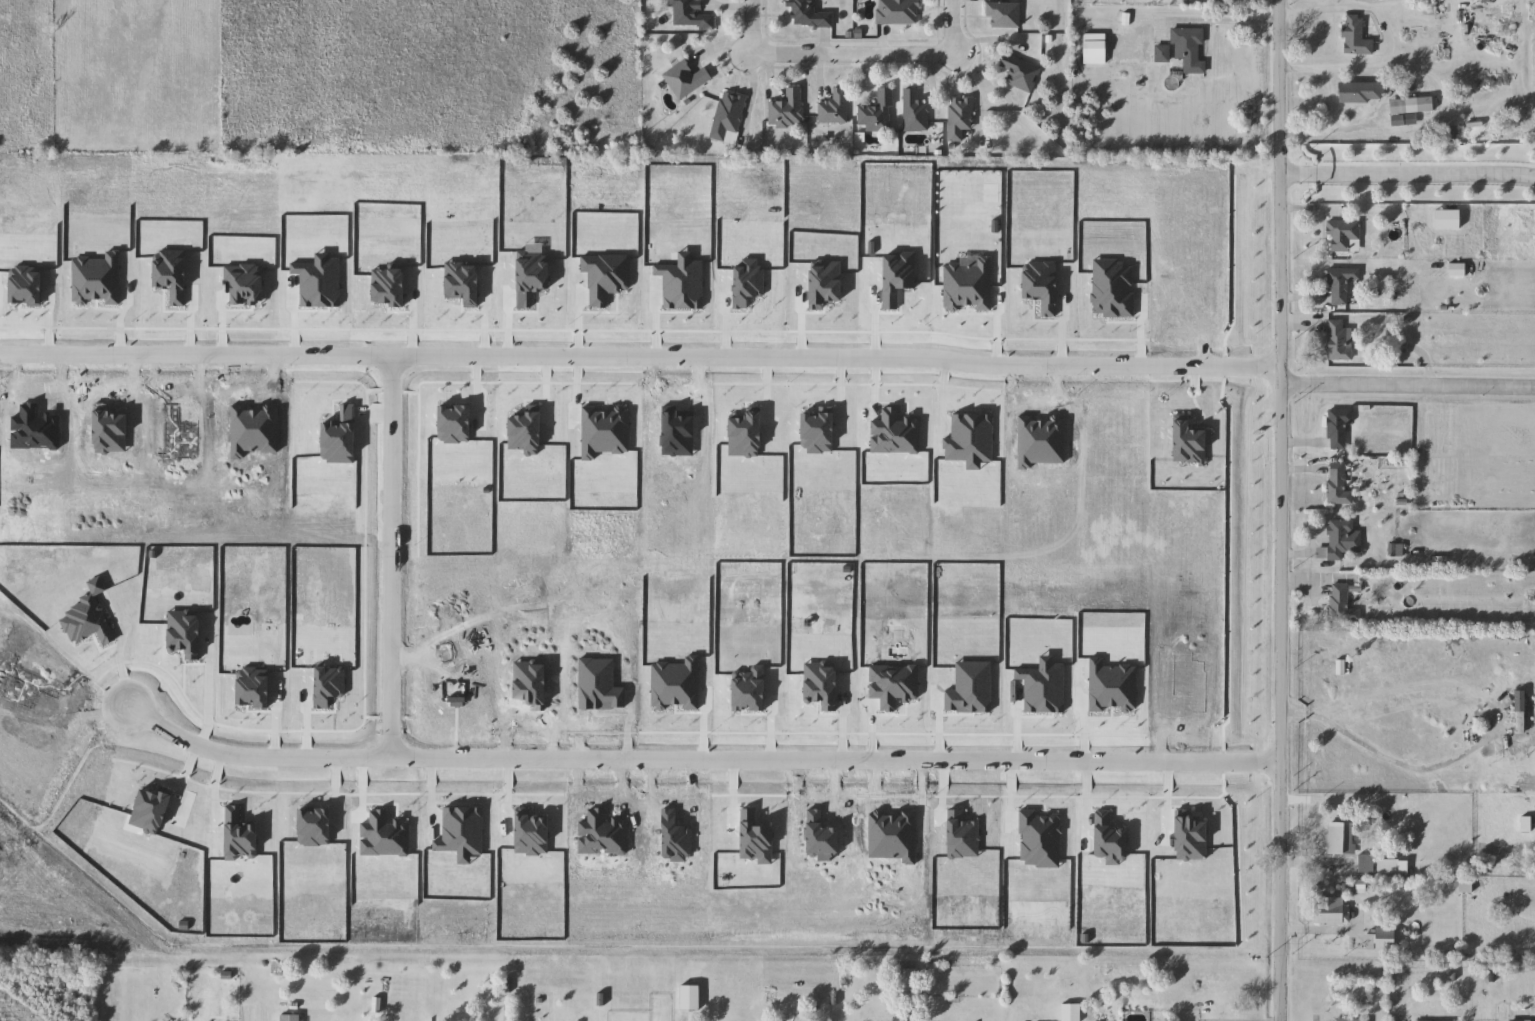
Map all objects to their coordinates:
building: (898, 12)
building: (1004, 13)
building: (690, 14)
building: (810, 14)
road: (1223, 21)
road: (752, 25)
road: (947, 28)
building: (1357, 36)
building: (1189, 48)
road: (845, 52)
building: (1163, 53)
building: (1020, 73)
building: (685, 79)
building: (1361, 93)
building: (1413, 105)
building: (835, 108)
building: (787, 109)
building: (915, 111)
building: (877, 113)
building: (960, 117)
building: (728, 118)
road: (1332, 134)
road: (1403, 173)
building: (1448, 219)
building: (1345, 235)
building: (1342, 284)
building: (1340, 341)
road: (636, 352)
road: (1404, 375)
building: (1339, 430)
building: (1338, 485)
road: (1274, 510)
building: (1338, 541)
road: (394, 552)
building: (1342, 604)
road: (117, 648)
building: (1520, 713)
road: (699, 756)
road: (1390, 758)
road: (1353, 799)
building: (1341, 839)
road: (1313, 864)
building: (1367, 864)
building: (1466, 887)
building: (1332, 911)
road: (1317, 930)
building: (1387, 940)
building: (907, 983)
building: (690, 997)
building: (290, 1018)
building: (1349, 1020)
building: (1520, 1020)

